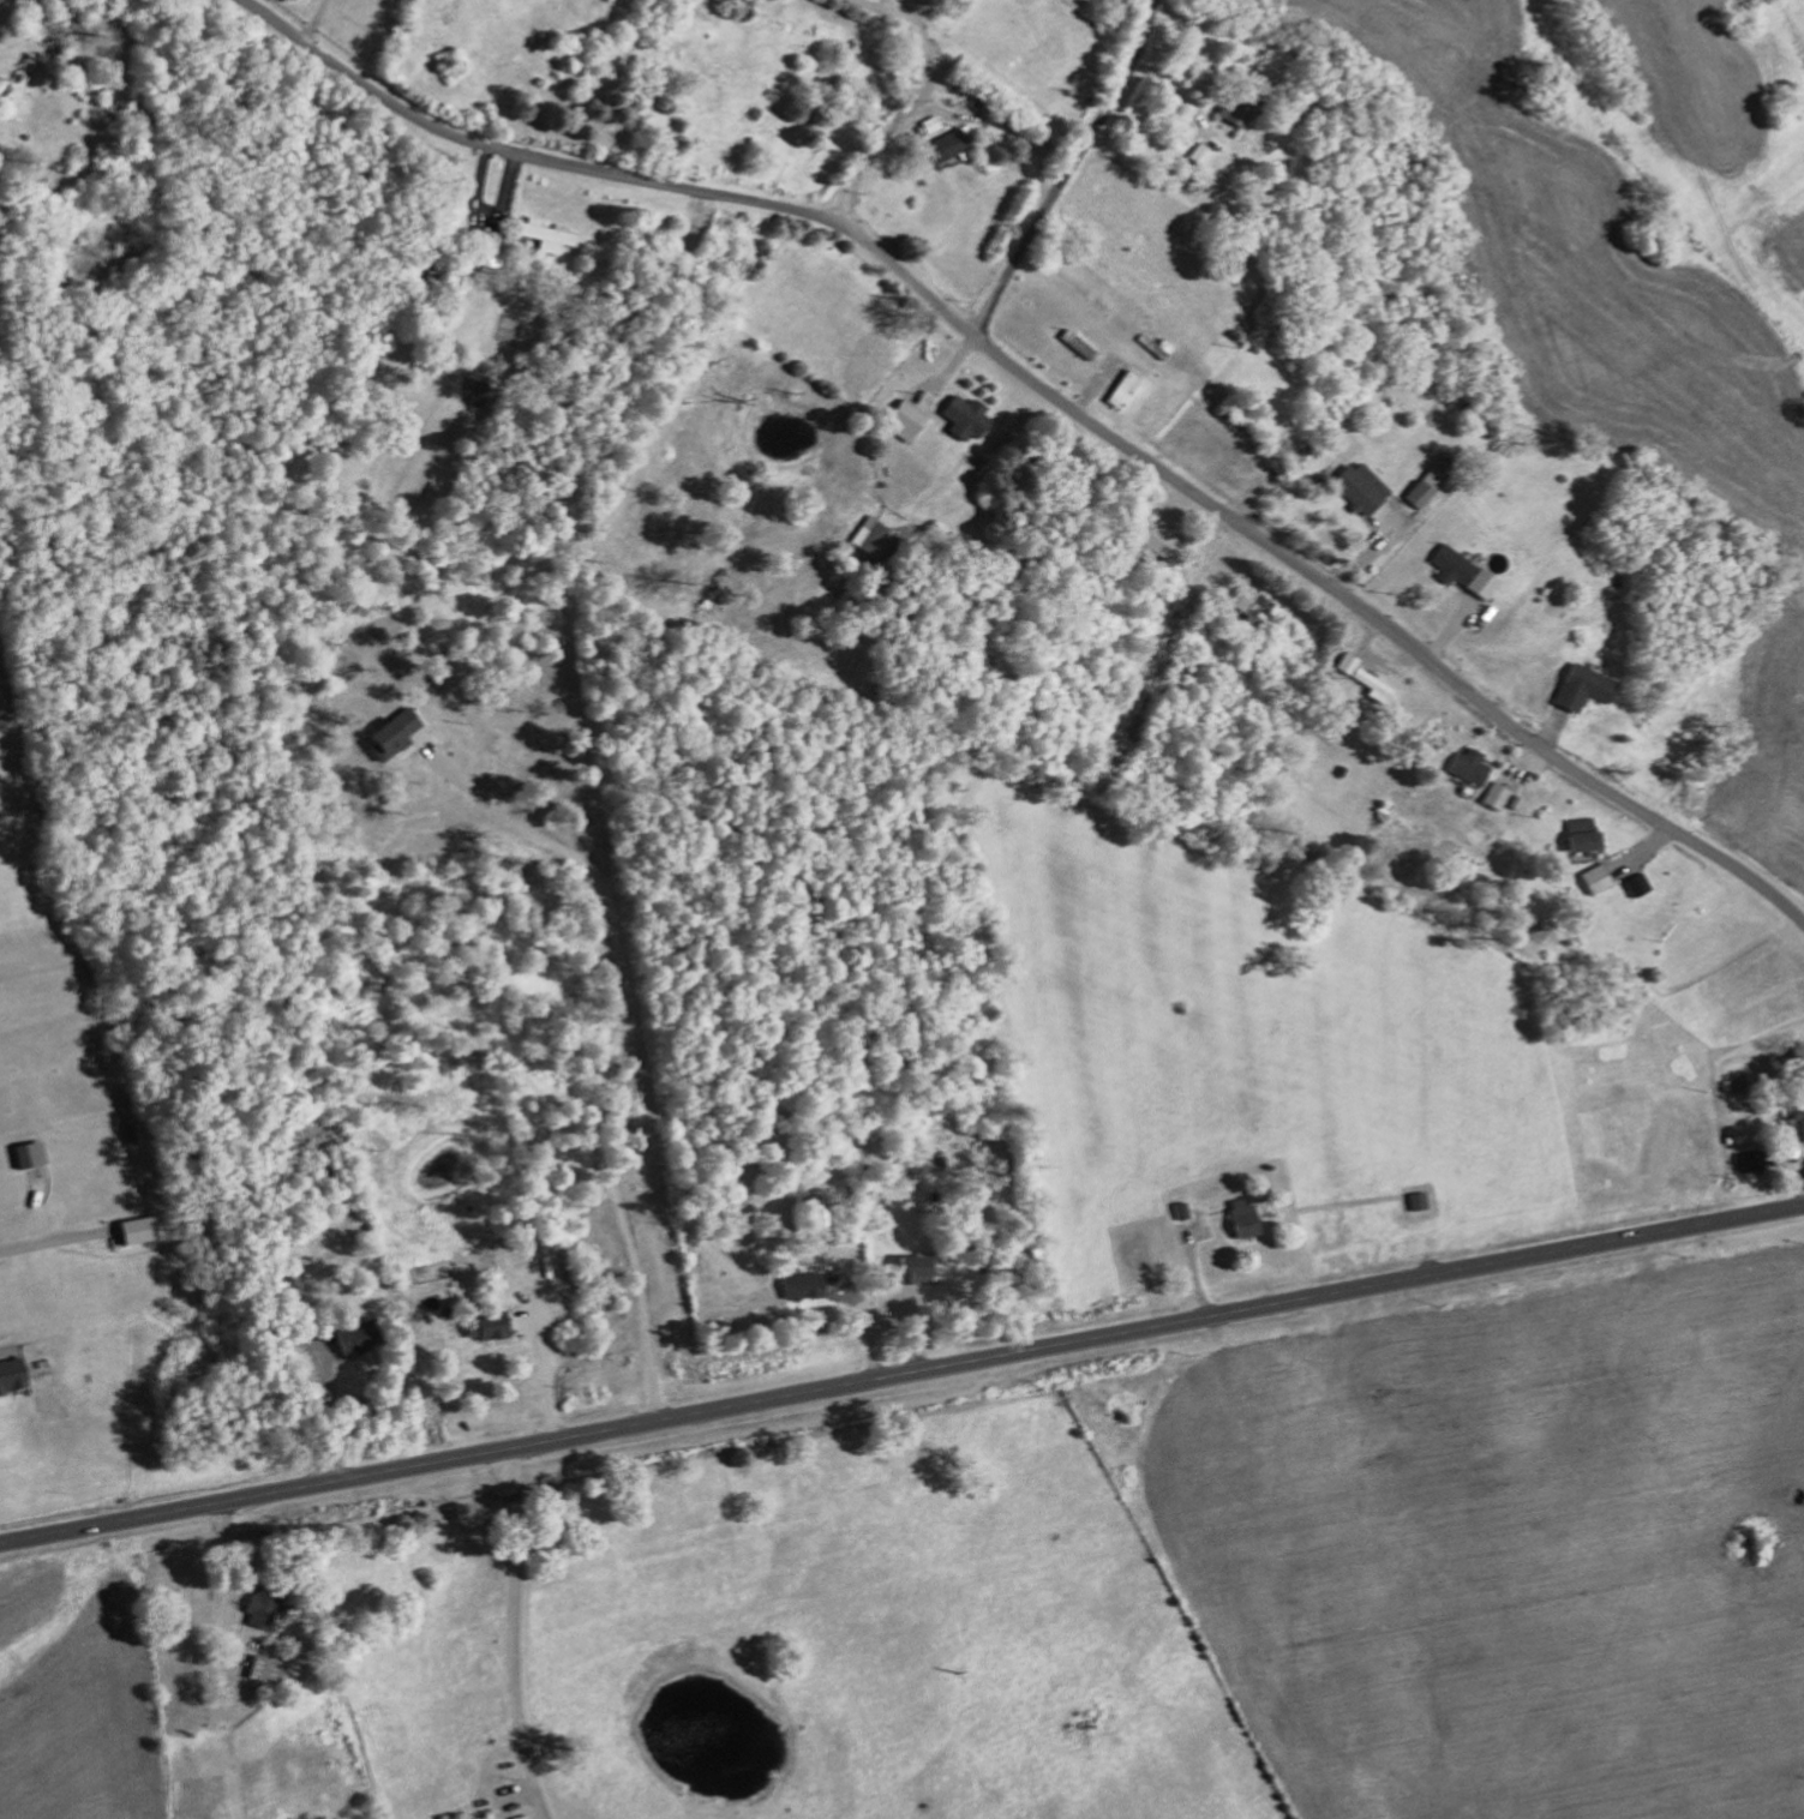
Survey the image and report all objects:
road: (12, 6)
road: (310, 20)
road: (911, 102)
building: (1234, 110)
road: (1018, 128)
building: (948, 148)
building: (1199, 155)
road: (544, 162)
road: (1071, 172)
building: (544, 235)
building: (489, 242)
building: (1155, 346)
building: (1122, 389)
building: (964, 416)
building: (904, 420)
building: (1426, 485)
building: (1359, 487)
building: (1156, 538)
building: (871, 539)
building: (1462, 572)
road: (1338, 593)
building: (1251, 606)
building: (1348, 664)
building: (1374, 685)
building: (1581, 688)
building: (389, 734)
building: (1468, 766)
building: (1496, 797)
building: (1580, 835)
building: (1595, 880)
building: (1637, 884)
road: (607, 1055)
building: (1793, 1134)
building: (26, 1154)
building: (1242, 1219)
building: (132, 1231)
building: (799, 1287)
building: (481, 1328)
road: (546, 1368)
road: (901, 1375)
building: (11, 1376)
road: (329, 1406)
building: (260, 1610)
road: (517, 1634)
building: (258, 1669)

